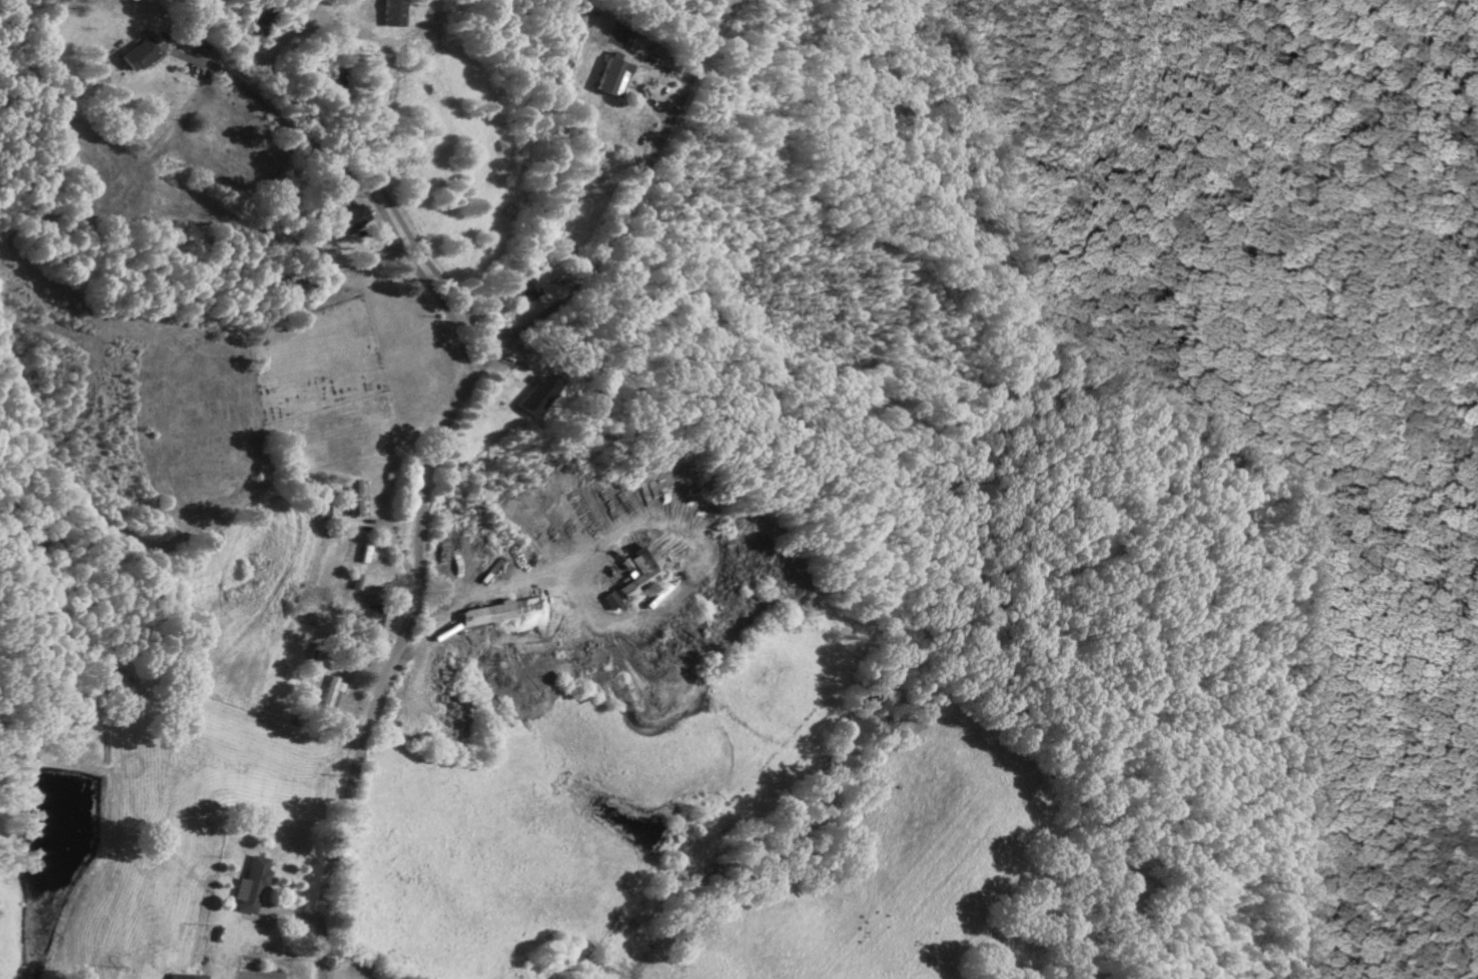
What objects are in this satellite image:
building: (390, 15)
building: (136, 56)
building: (611, 76)
road: (389, 206)
building: (348, 222)
building: (524, 288)
building: (527, 397)
road: (432, 448)
building: (353, 498)
building: (632, 572)
building: (605, 602)
building: (491, 613)
building: (366, 619)
building: (329, 695)
building: (248, 888)
building: (182, 977)

